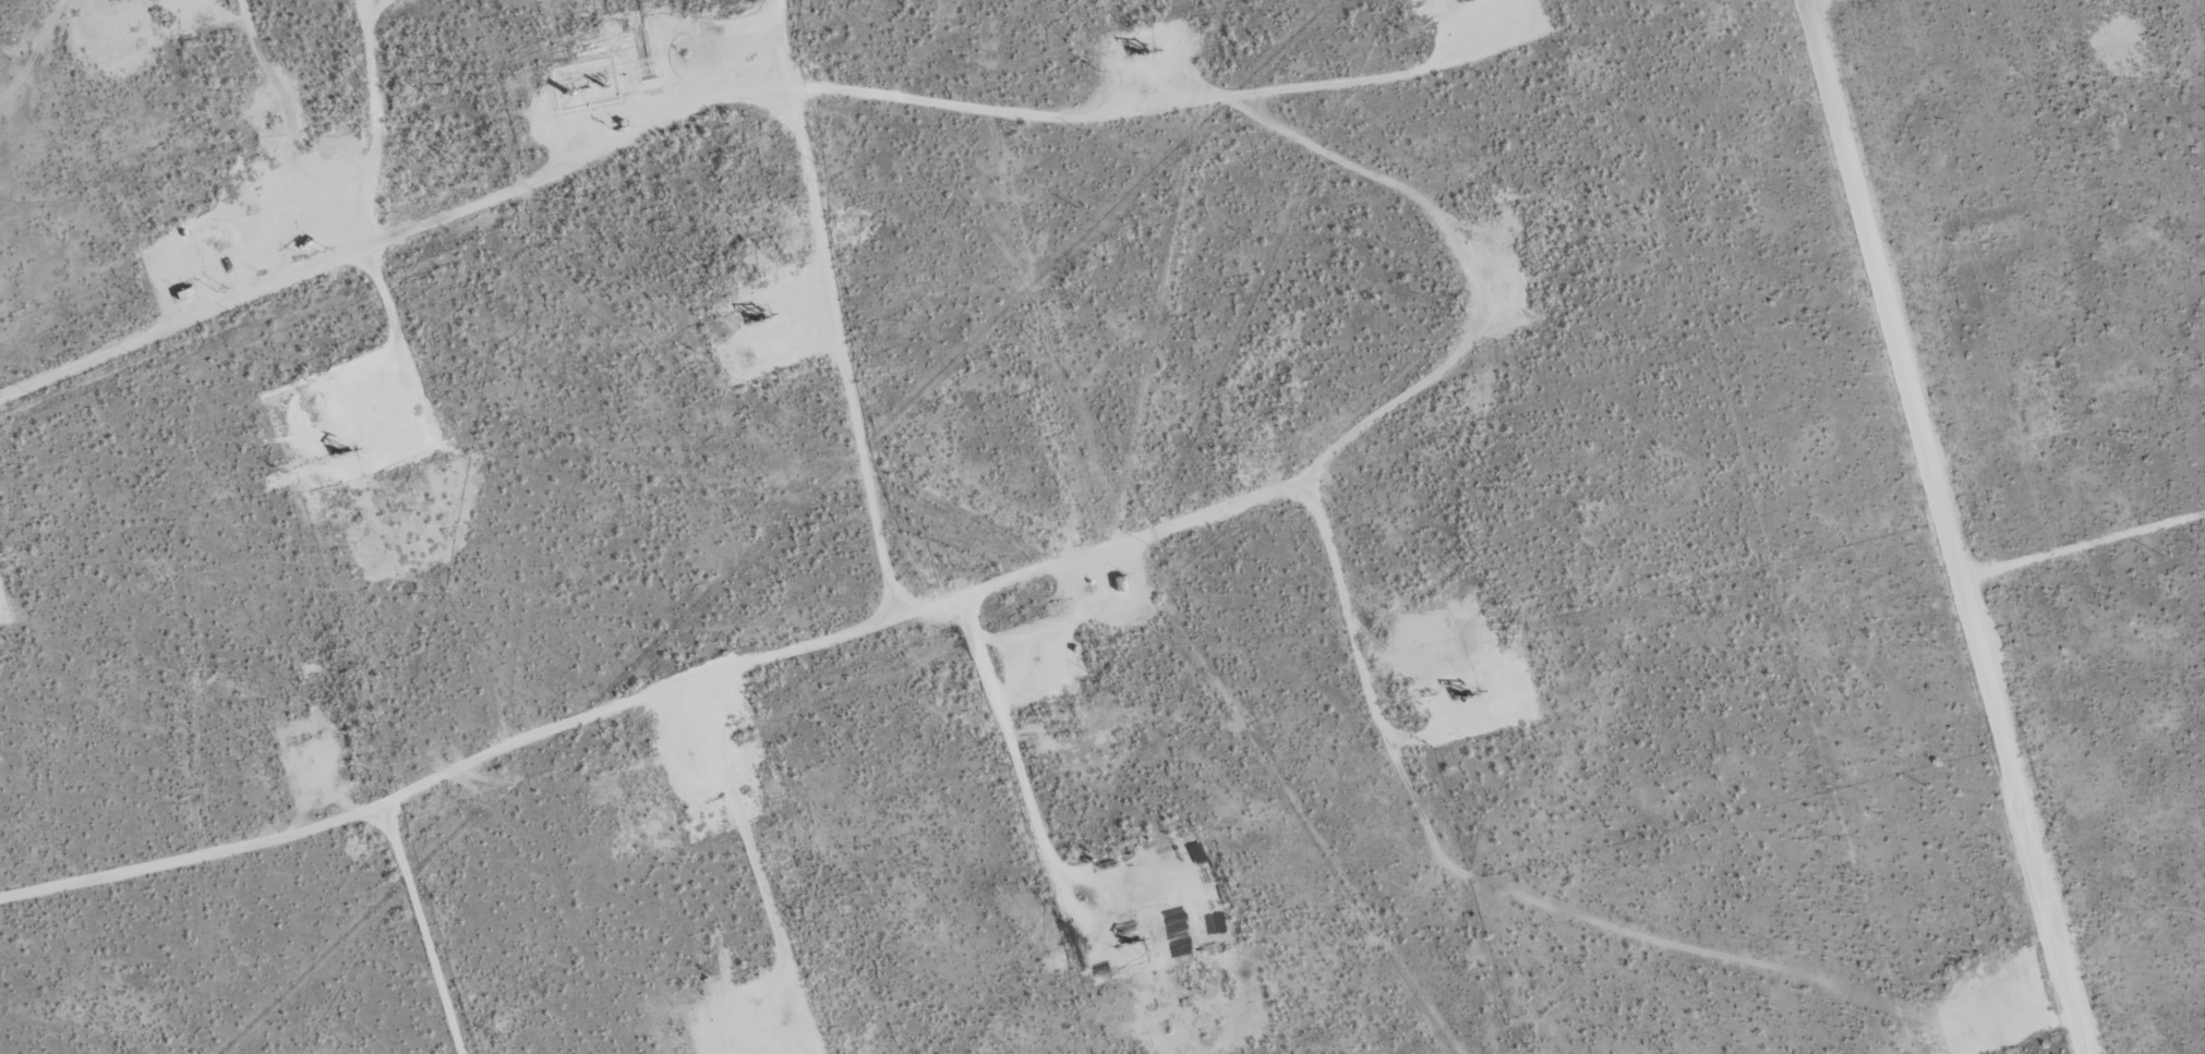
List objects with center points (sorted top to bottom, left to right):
road: (1721, 526)

